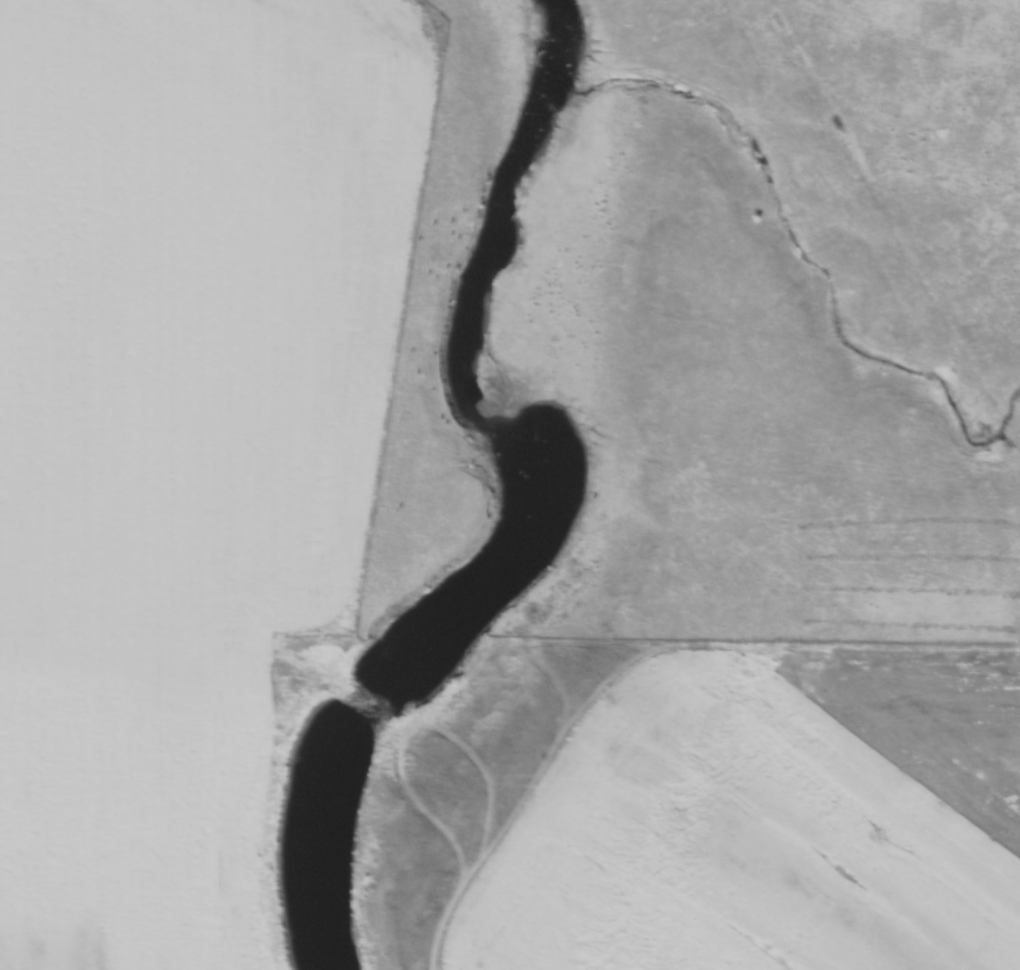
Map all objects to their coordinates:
river: (527, 498)

